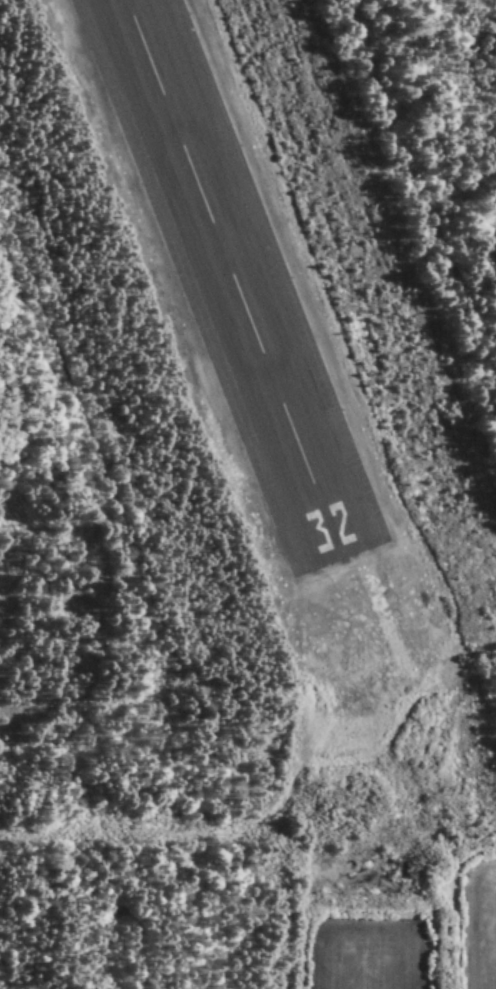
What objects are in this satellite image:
airport runway: (239, 274)
airport: (248, 419)
crop: (477, 927)
crop: (363, 956)

